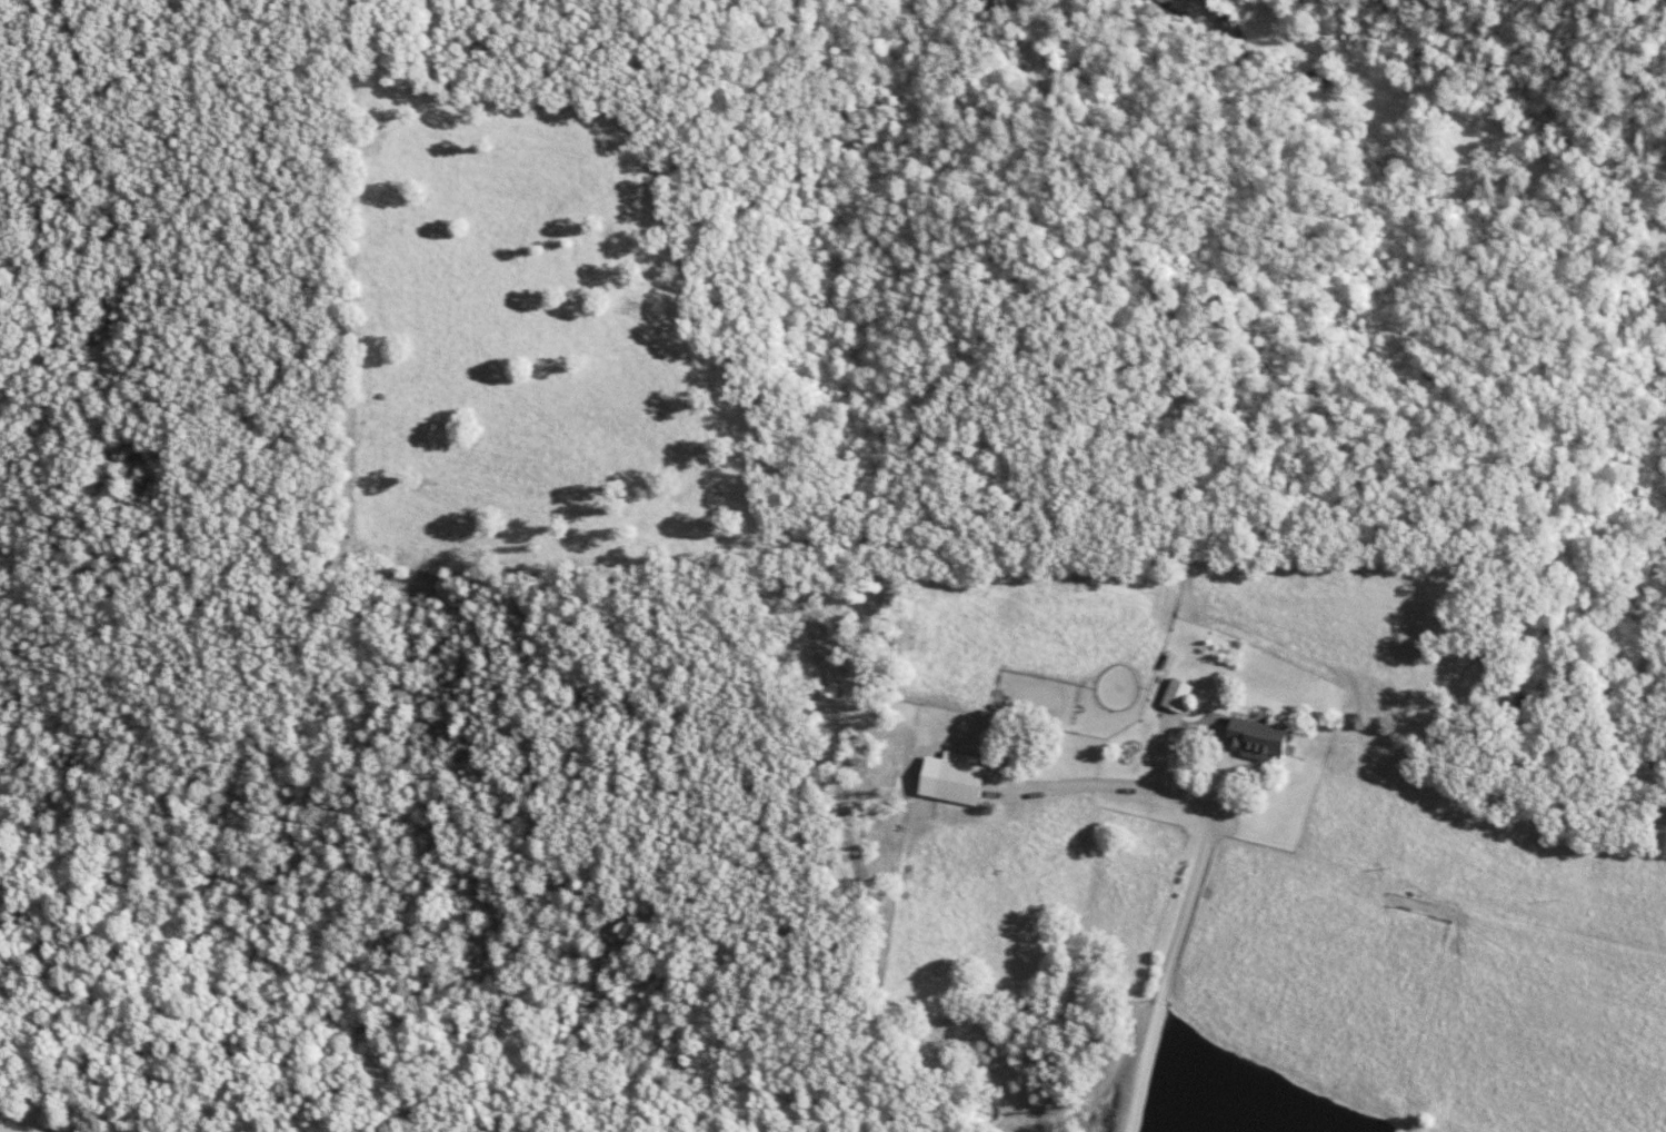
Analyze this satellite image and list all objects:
building: (1185, 695)
building: (1266, 739)
building: (960, 778)
road: (1199, 861)

